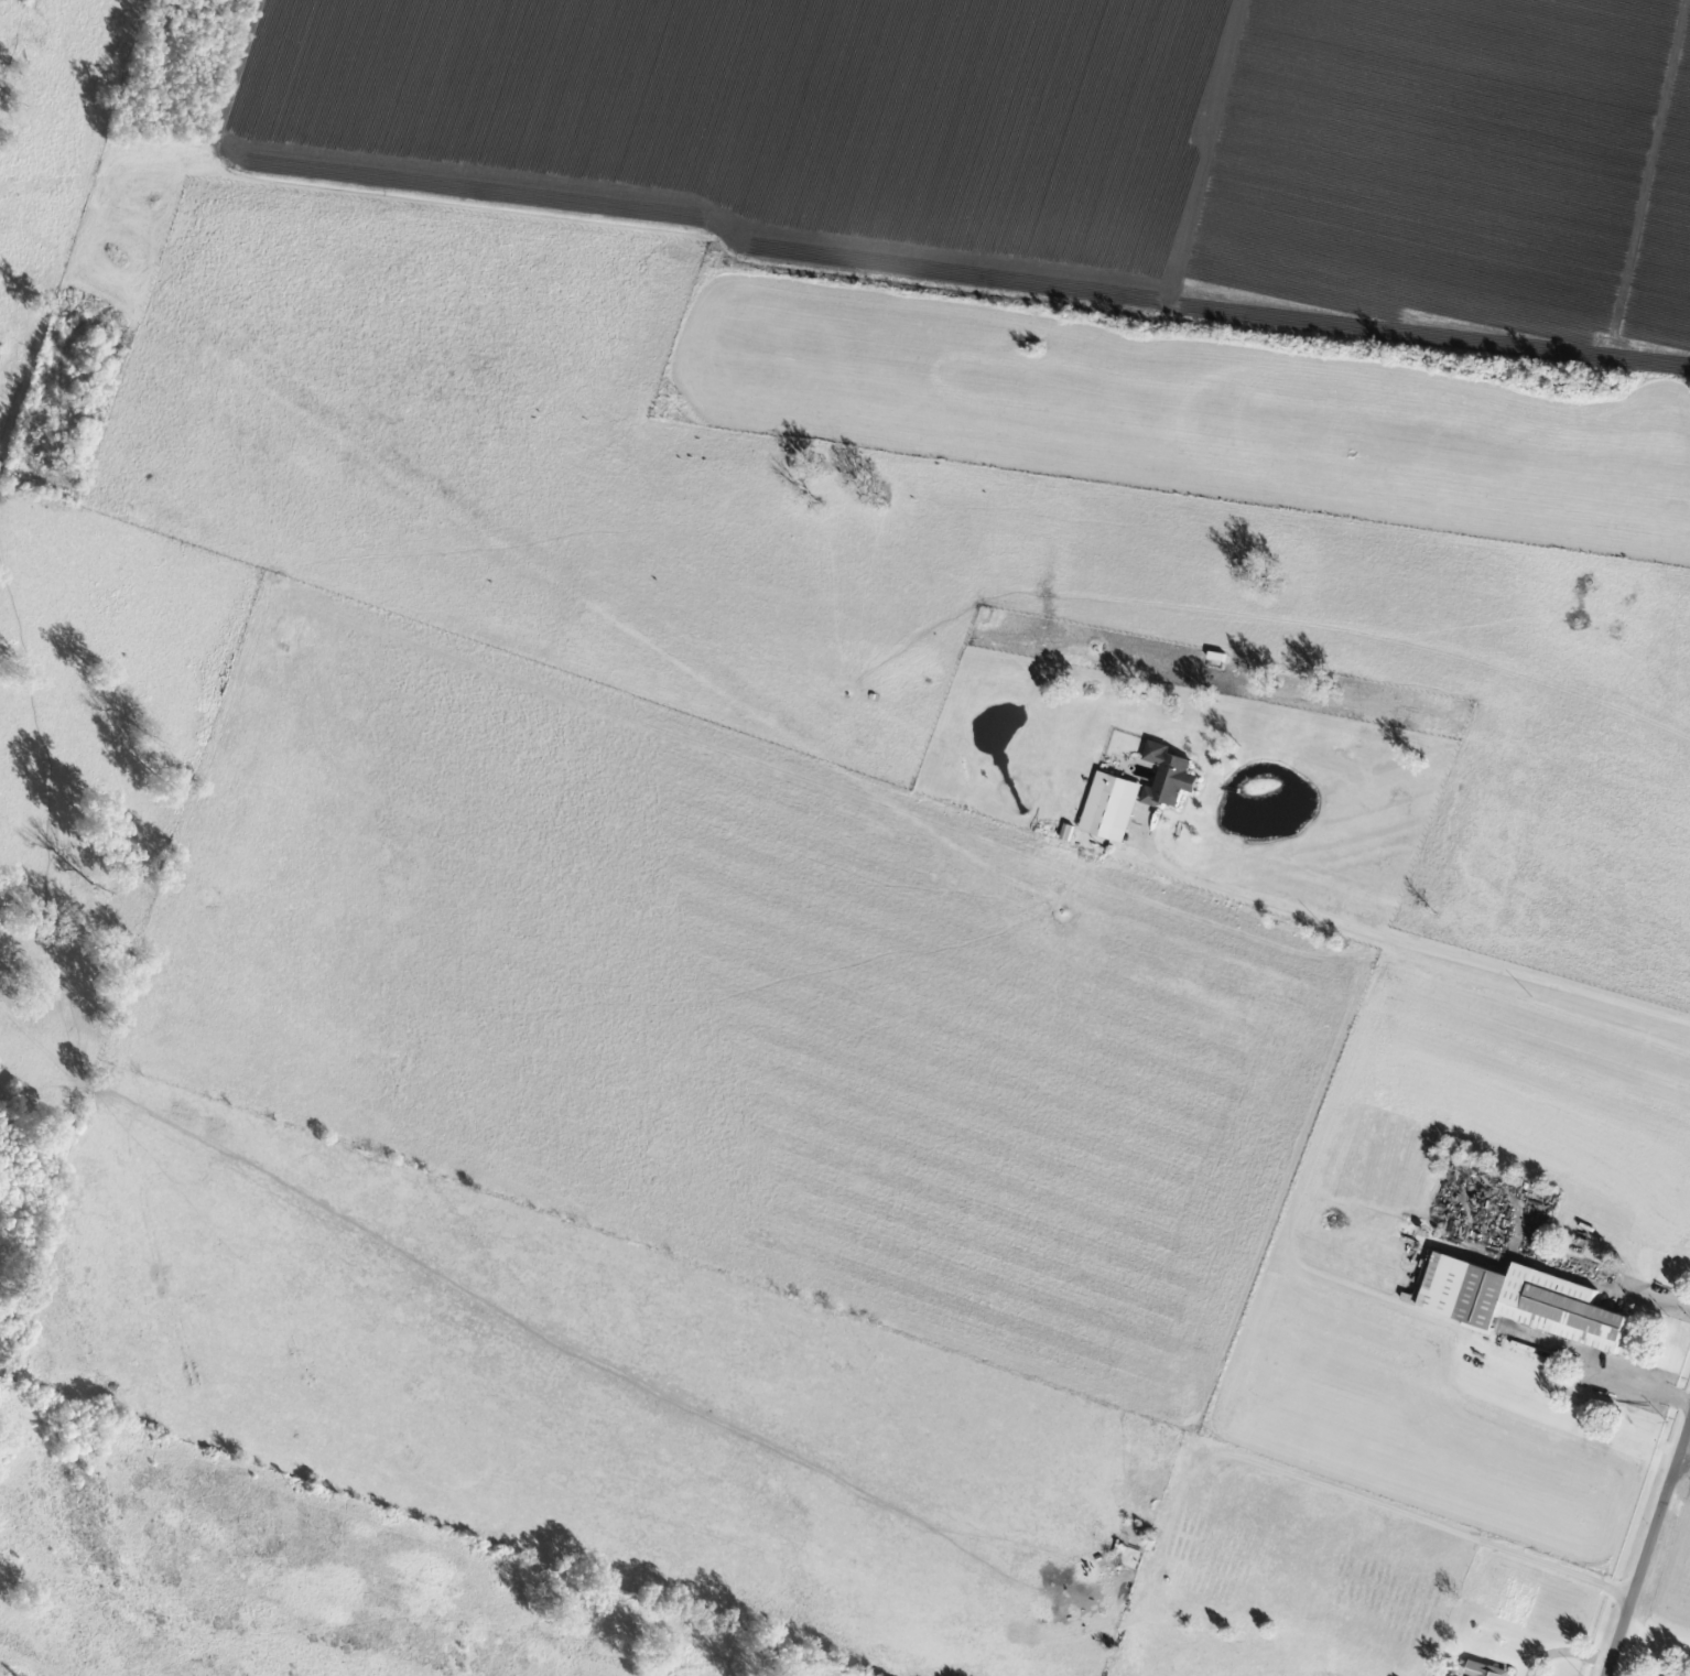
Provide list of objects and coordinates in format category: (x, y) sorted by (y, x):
building: (1170, 774)
building: (1107, 803)
road: (1417, 945)
road: (1624, 1284)
building: (1523, 1300)
road: (1642, 1392)
road: (1687, 1439)
road: (1687, 1447)
road: (1357, 1494)
building: (1119, 1553)
road: (1646, 1560)
building: (1488, 1668)

